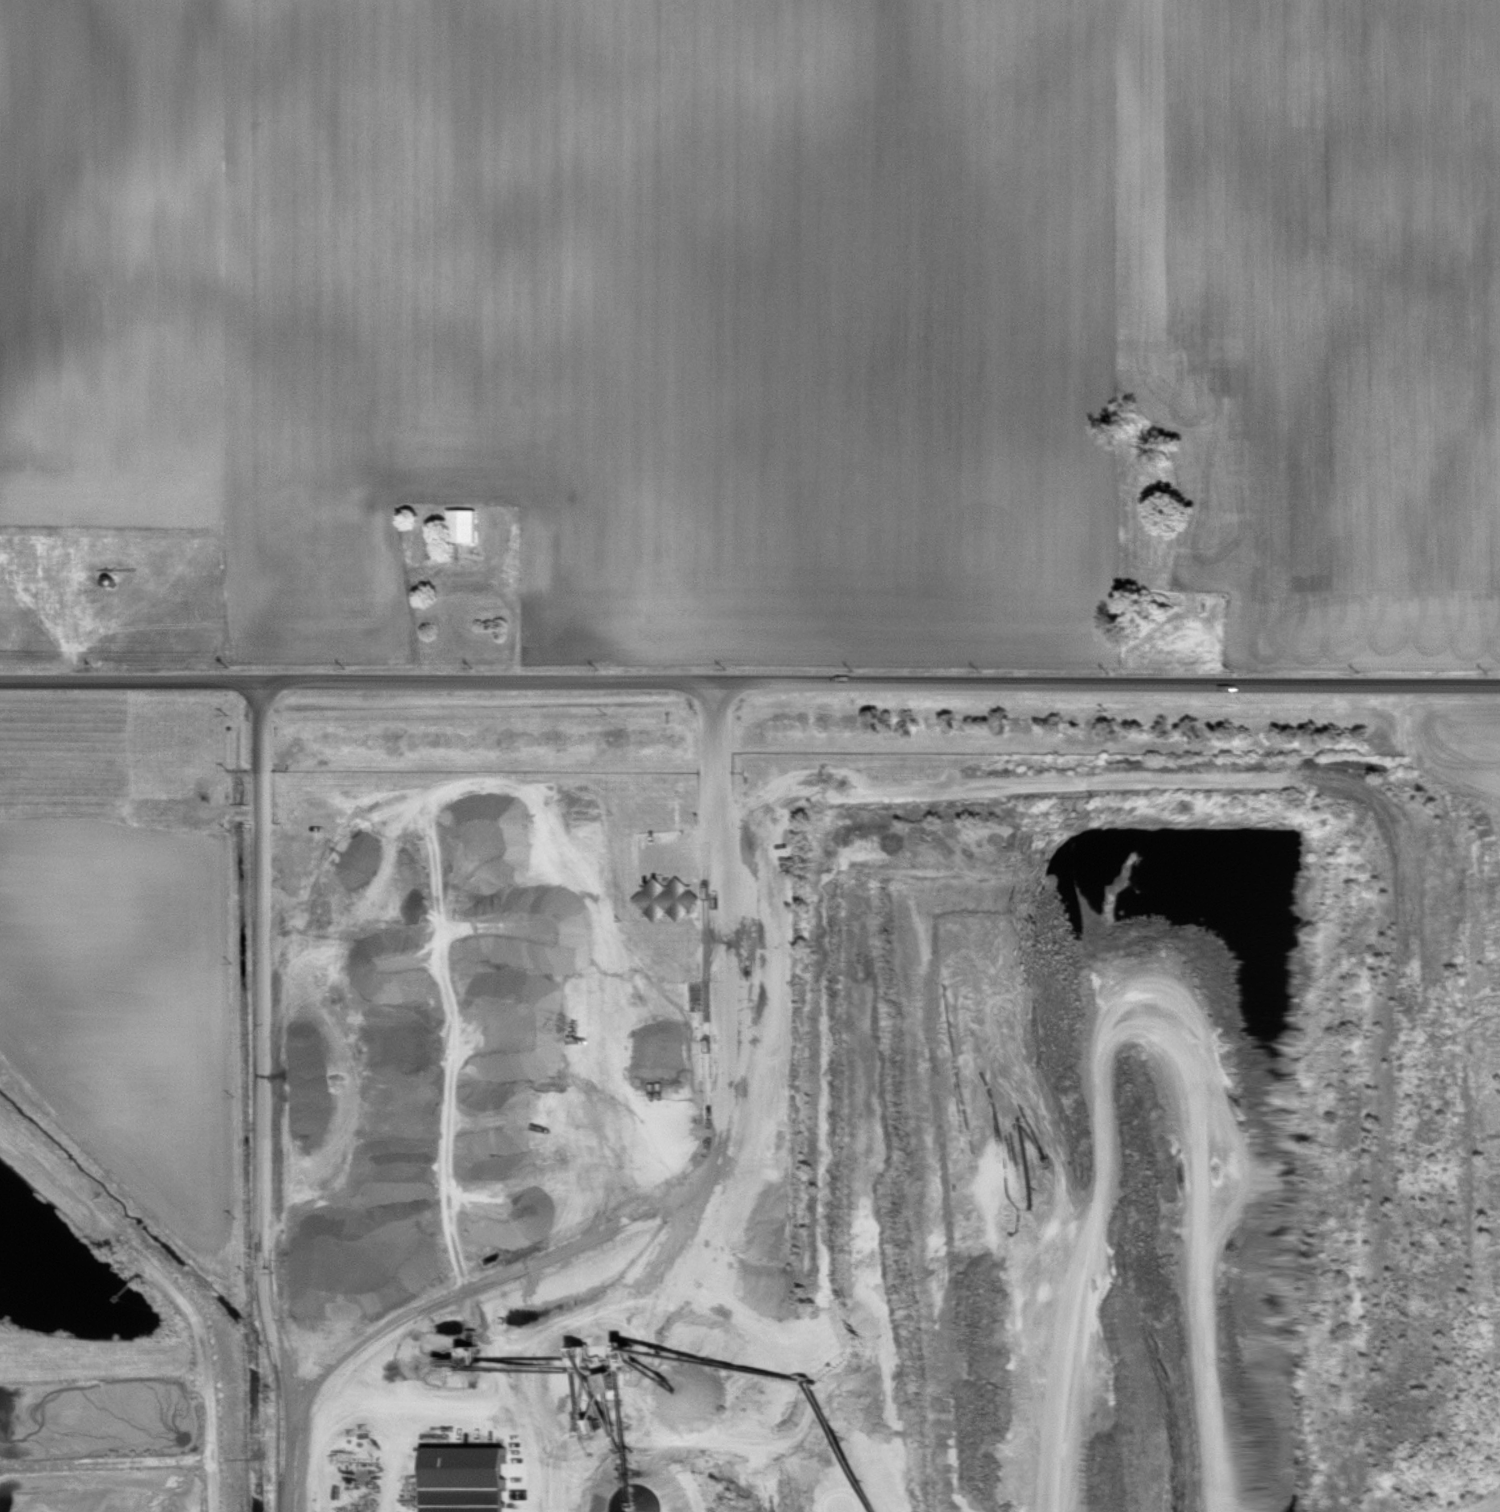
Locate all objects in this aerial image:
building: (459, 526)
building: (528, 572)
road: (750, 682)
building: (680, 904)
quarry: (868, 1107)
quarry: (124, 1113)
road: (715, 1139)
building: (459, 1479)

